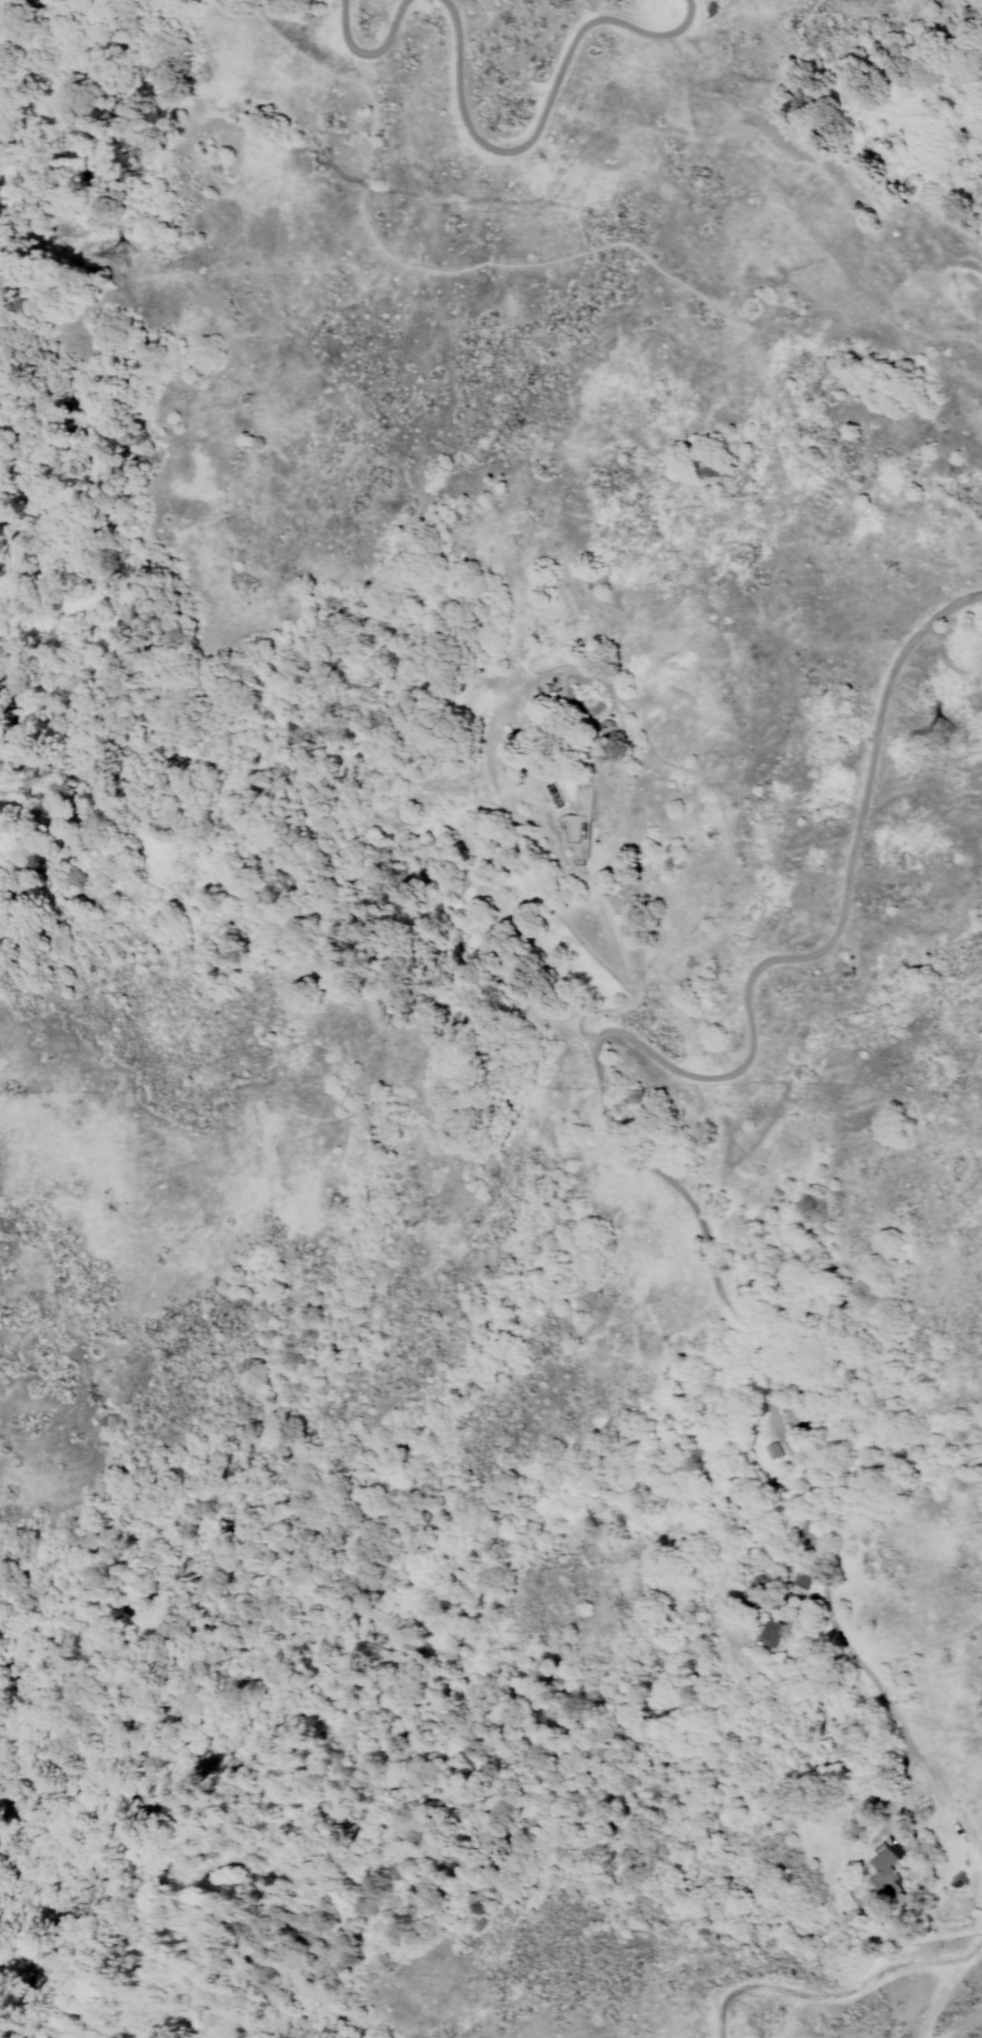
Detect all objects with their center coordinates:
road: (368, 55)
road: (541, 118)
road: (585, 150)
road: (611, 245)
power tower: (128, 255)
road: (848, 528)
road: (617, 719)
power tower: (948, 734)
road: (717, 812)
building: (580, 826)
road: (839, 919)
road: (628, 973)
road: (790, 1449)
building: (773, 1451)
building: (801, 1575)
building: (770, 1632)
building: (888, 1850)
road: (981, 1929)
road: (947, 1984)
road: (827, 1994)
road: (963, 2023)

